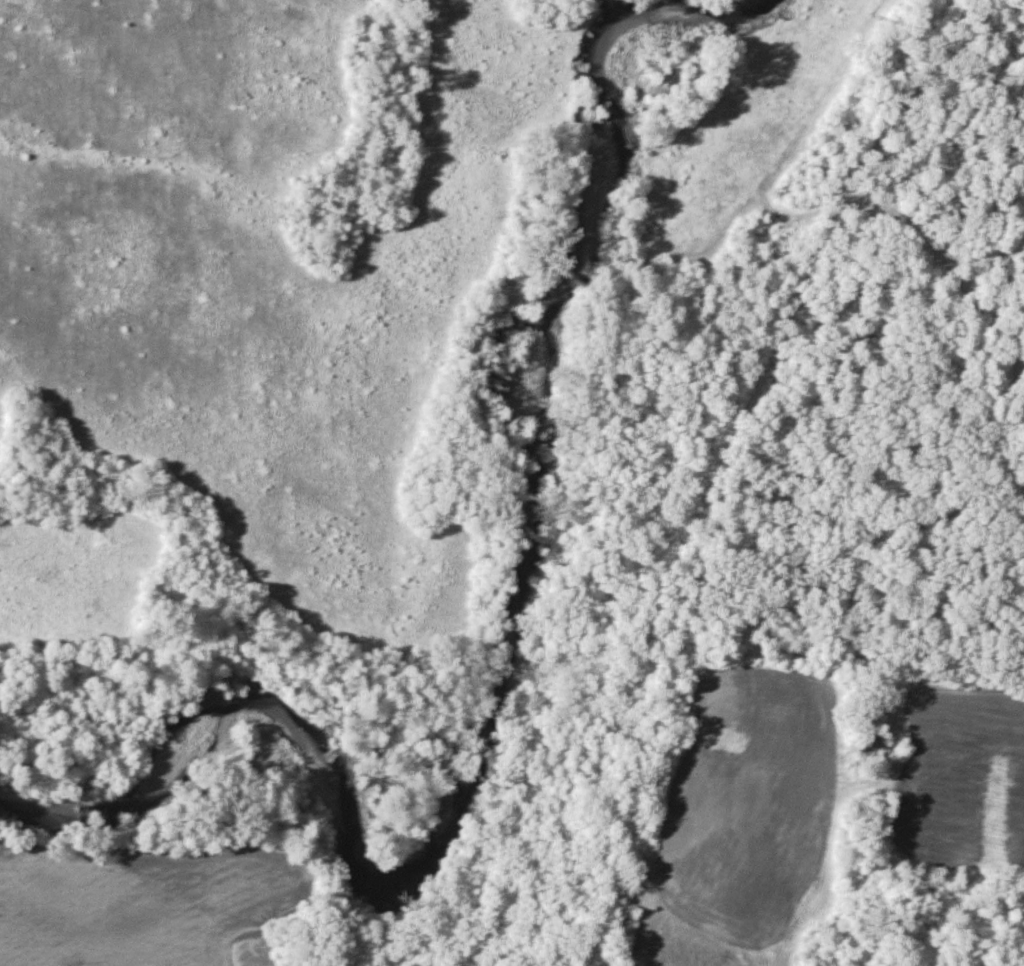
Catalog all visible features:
river: (506, 680)

